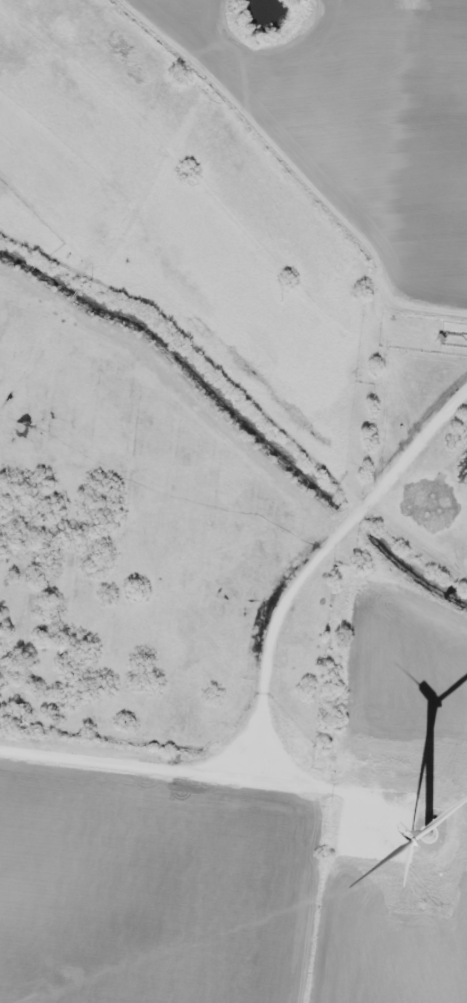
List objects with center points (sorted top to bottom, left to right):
wind turbine: (428, 807)

